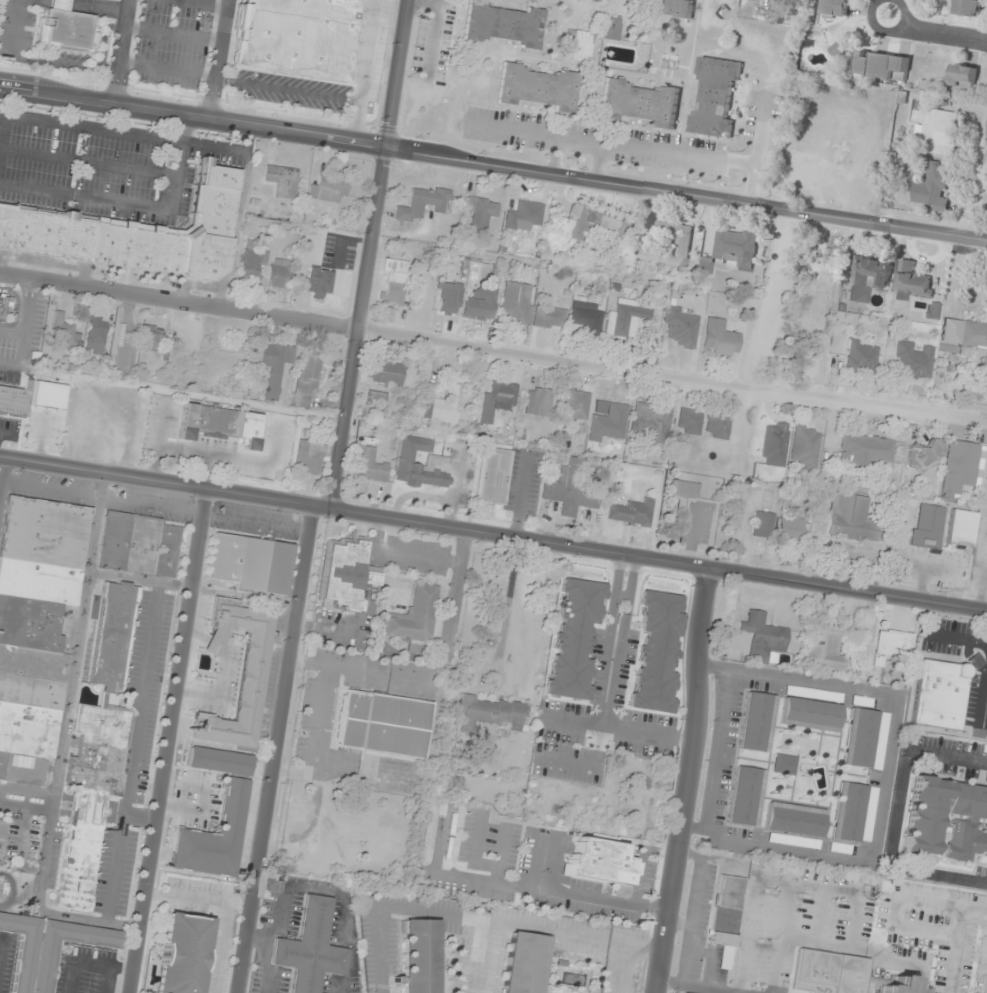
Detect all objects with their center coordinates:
road: (208, 2)
road: (83, 6)
building: (837, 7)
building: (673, 8)
building: (971, 8)
building: (503, 24)
building: (63, 27)
building: (611, 28)
road: (885, 31)
road: (172, 34)
road: (936, 36)
building: (294, 37)
road: (105, 39)
building: (580, 45)
building: (841, 48)
road: (119, 51)
road: (218, 59)
road: (35, 62)
building: (882, 66)
road: (167, 69)
road: (365, 71)
building: (963, 79)
building: (539, 88)
road: (288, 89)
building: (716, 98)
building: (641, 103)
building: (939, 132)
road: (755, 150)
road: (493, 163)
building: (283, 181)
building: (329, 188)
building: (934, 188)
building: (423, 204)
road: (981, 206)
building: (482, 215)
building: (525, 216)
building: (598, 230)
building: (135, 232)
building: (673, 240)
building: (736, 249)
road: (370, 254)
building: (279, 273)
building: (869, 277)
building: (320, 282)
building: (912, 282)
building: (394, 287)
building: (450, 298)
building: (5, 304)
building: (480, 304)
building: (528, 309)
building: (587, 316)
building: (626, 318)
building: (681, 327)
building: (62, 328)
building: (96, 335)
building: (972, 335)
building: (152, 338)
building: (720, 339)
road: (493, 347)
building: (862, 357)
building: (914, 361)
building: (274, 366)
building: (388, 373)
building: (308, 380)
road: (183, 392)
building: (15, 399)
building: (497, 400)
building: (539, 402)
building: (379, 403)
building: (577, 405)
building: (442, 407)
building: (652, 421)
building: (689, 421)
building: (208, 422)
building: (717, 426)
building: (775, 444)
building: (806, 447)
building: (866, 450)
building: (923, 455)
building: (422, 464)
building: (369, 466)
building: (960, 468)
road: (4, 470)
building: (493, 476)
road: (1, 484)
road: (102, 486)
building: (572, 488)
road: (51, 489)
building: (685, 490)
building: (786, 502)
road: (153, 506)
building: (631, 512)
building: (851, 517)
building: (763, 525)
building: (928, 525)
building: (792, 528)
building: (961, 528)
road: (493, 534)
building: (139, 545)
building: (250, 563)
building: (344, 573)
road: (125, 576)
building: (415, 615)
building: (36, 617)
building: (573, 636)
building: (763, 637)
building: (824, 645)
building: (890, 646)
building: (656, 650)
road: (611, 660)
building: (975, 661)
building: (250, 685)
road: (223, 690)
building: (812, 694)
building: (939, 695)
building: (859, 701)
building: (492, 712)
building: (809, 713)
building: (382, 722)
building: (755, 722)
road: (617, 729)
road: (137, 736)
building: (857, 737)
building: (878, 741)
road: (171, 742)
road: (717, 749)
road: (281, 750)
road: (60, 757)
road: (567, 761)
building: (782, 763)
road: (883, 777)
road: (688, 781)
road: (27, 791)
building: (744, 795)
building: (234, 800)
road: (26, 806)
building: (846, 812)
building: (867, 814)
road: (894, 817)
building: (921, 817)
building: (793, 818)
building: (2, 837)
road: (20, 840)
building: (792, 840)
building: (838, 848)
building: (79, 850)
building: (602, 862)
road: (776, 880)
road: (12, 890)
road: (898, 899)
road: (692, 910)
road: (785, 910)
road: (818, 915)
building: (726, 917)
road: (477, 919)
road: (680, 922)
road: (0, 939)
road: (835, 945)
building: (47, 947)
building: (310, 948)
road: (955, 951)
building: (183, 953)
building: (418, 955)
road: (480, 957)
road: (710, 959)
building: (521, 961)
road: (89, 963)
road: (621, 969)
building: (859, 977)
road: (107, 979)
road: (697, 986)
road: (677, 988)
building: (682, 992)

